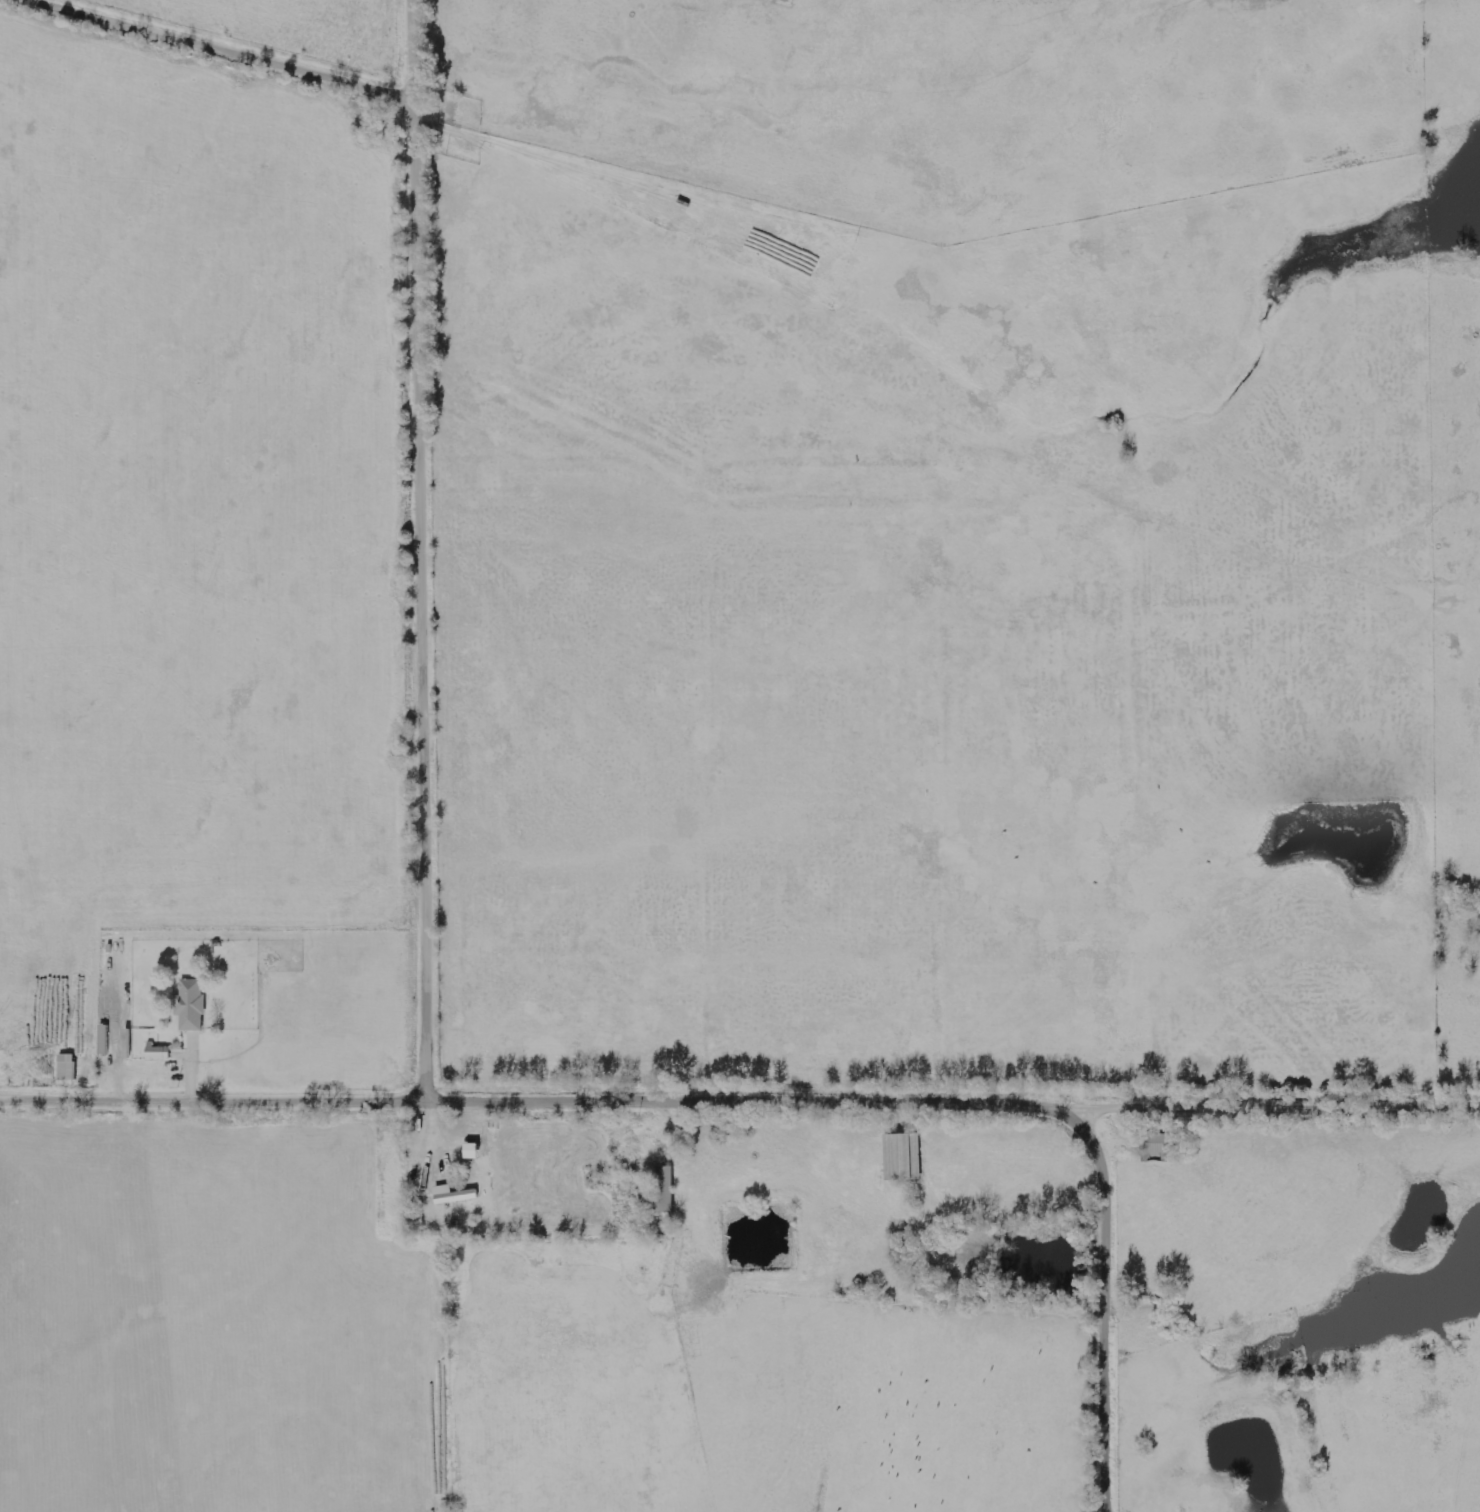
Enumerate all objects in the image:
road: (218, 51)
road: (428, 552)
building: (192, 1006)
building: (159, 1052)
building: (68, 1068)
road: (739, 1105)
building: (476, 1152)
building: (904, 1158)
building: (455, 1196)
road: (1113, 1311)

